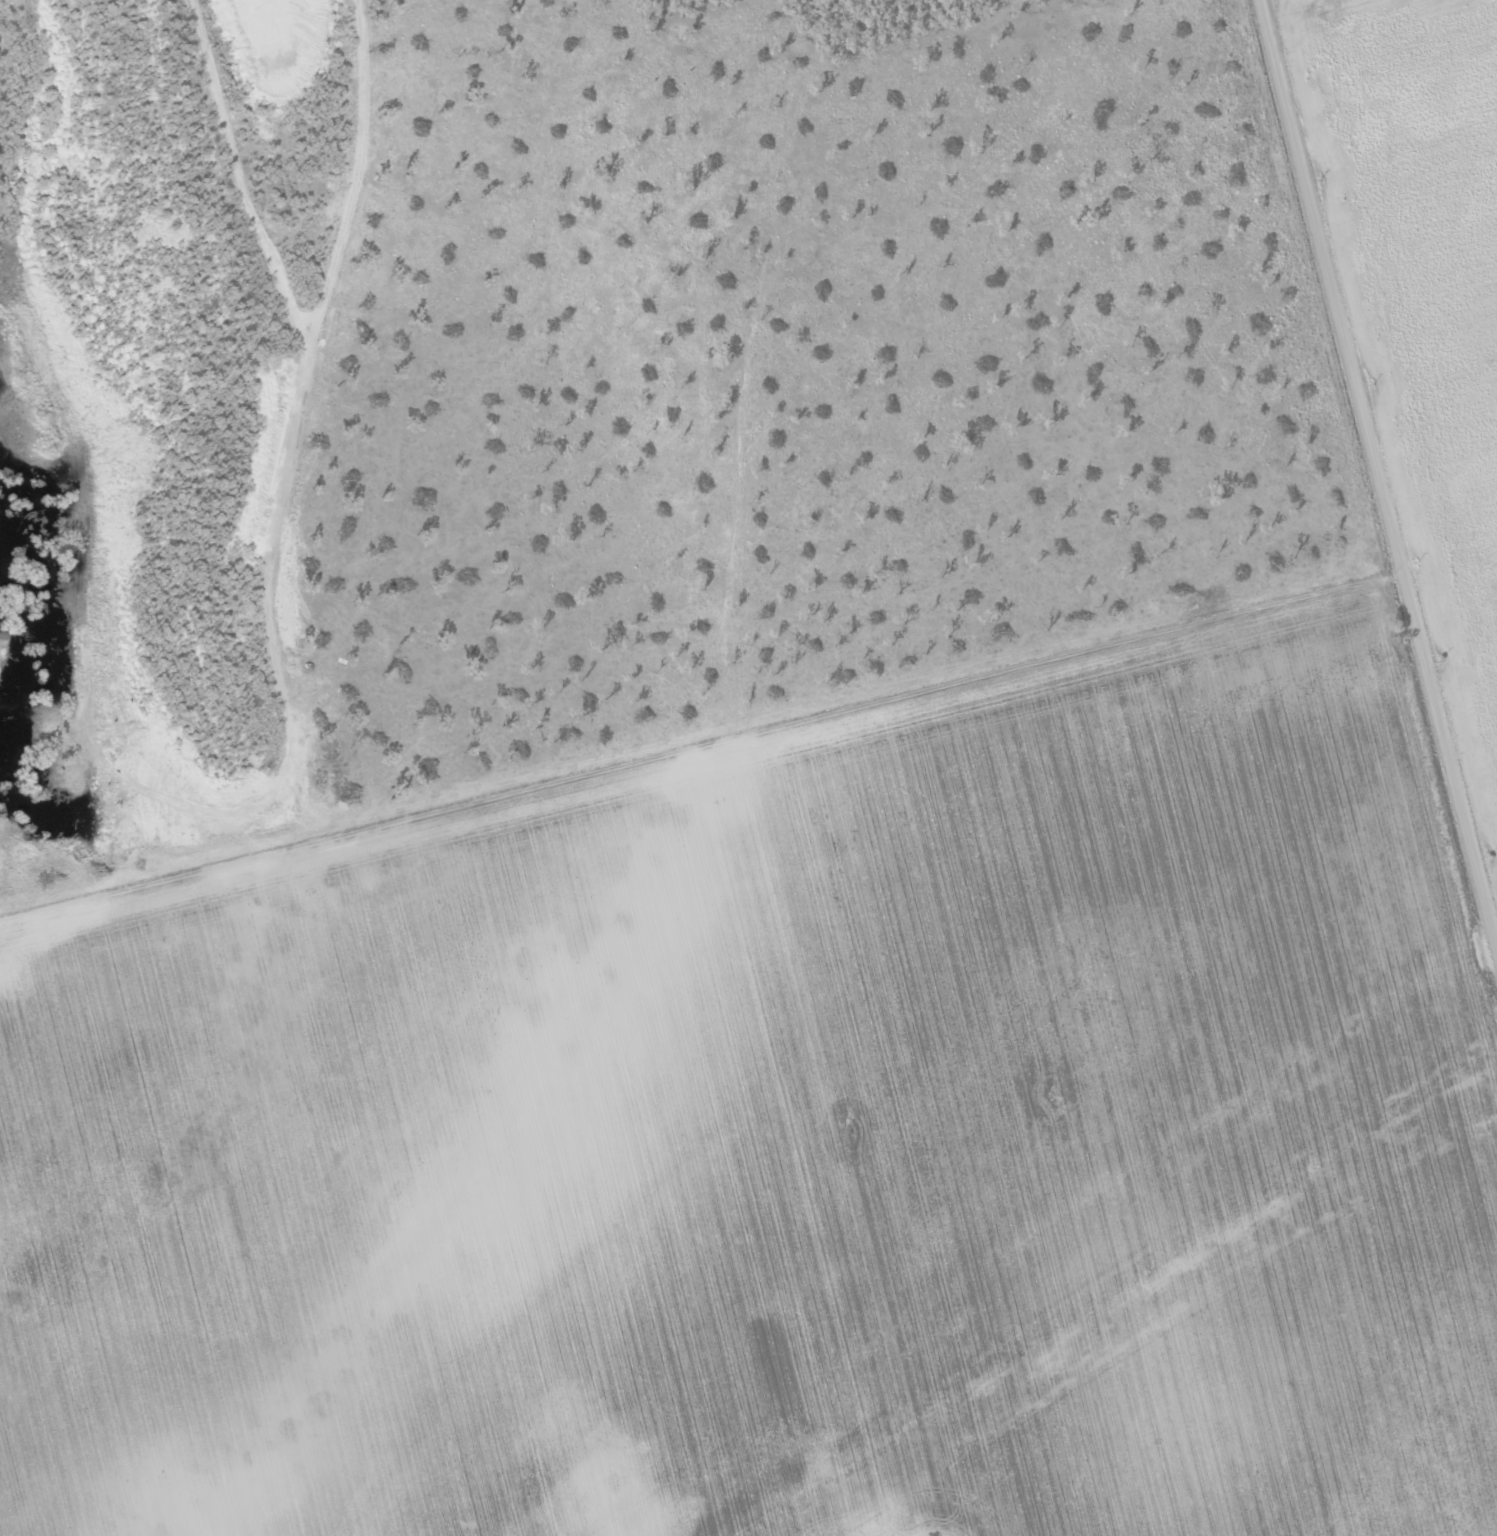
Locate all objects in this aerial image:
road: (1380, 505)

